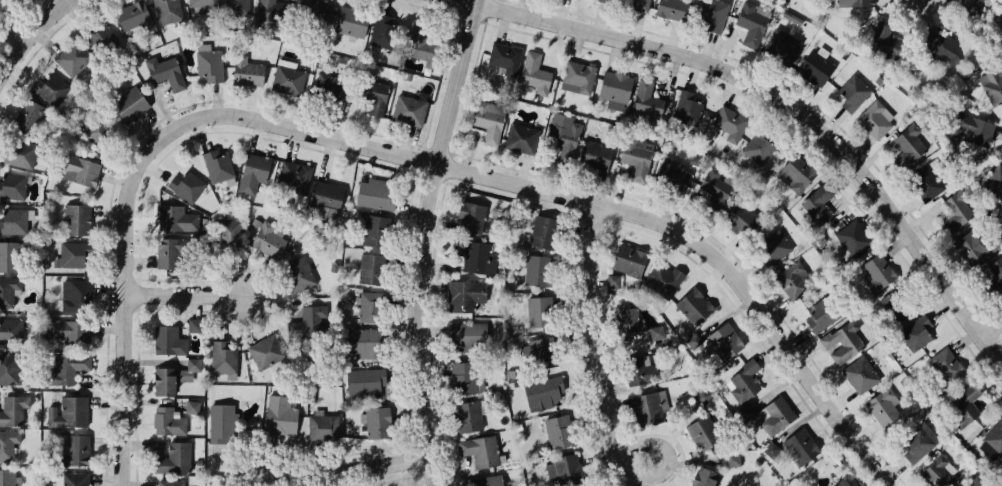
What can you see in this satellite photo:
building: (608, 0)
building: (636, 2)
building: (860, 2)
building: (201, 3)
building: (668, 4)
building: (233, 6)
building: (967, 7)
building: (167, 9)
building: (265, 11)
building: (312, 13)
building: (712, 14)
building: (752, 15)
building: (133, 16)
building: (351, 22)
road: (14, 23)
building: (99, 36)
road: (32, 37)
building: (384, 37)
building: (882, 37)
building: (783, 44)
building: (422, 45)
building: (938, 45)
building: (502, 56)
building: (72, 57)
building: (816, 64)
building: (209, 68)
building: (532, 69)
building: (244, 71)
building: (164, 72)
building: (575, 77)
building: (287, 80)
building: (992, 85)
building: (611, 86)
building: (49, 87)
building: (328, 89)
building: (370, 90)
building: (852, 92)
building: (645, 99)
road: (783, 100)
building: (130, 103)
building: (687, 108)
building: (407, 110)
building: (26, 116)
building: (486, 119)
building: (872, 121)
building: (730, 122)
building: (94, 127)
building: (972, 128)
building: (562, 135)
building: (518, 136)
building: (907, 143)
building: (757, 149)
building: (633, 152)
building: (20, 154)
building: (592, 155)
building: (77, 168)
building: (218, 168)
building: (795, 172)
building: (252, 173)
building: (671, 174)
building: (291, 175)
building: (923, 181)
building: (994, 182)
building: (184, 184)
building: (11, 186)
building: (711, 188)
building: (374, 196)
building: (324, 197)
road: (589, 199)
building: (814, 206)
building: (957, 210)
building: (471, 217)
building: (75, 218)
building: (175, 219)
building: (738, 219)
building: (11, 220)
building: (372, 231)
building: (542, 231)
building: (229, 232)
building: (819, 238)
building: (851, 238)
building: (266, 239)
road: (428, 240)
building: (772, 247)
building: (968, 249)
building: (165, 253)
building: (70, 254)
building: (5, 256)
building: (476, 259)
building: (626, 259)
building: (367, 269)
building: (876, 270)
building: (537, 271)
building: (296, 273)
building: (996, 273)
building: (792, 276)
building: (664, 279)
building: (613, 282)
building: (5, 292)
building: (69, 294)
road: (185, 294)
building: (464, 294)
road: (127, 302)
building: (898, 303)
building: (366, 305)
building: (693, 307)
building: (539, 312)
building: (823, 313)
building: (625, 318)
building: (307, 320)
building: (194, 325)
road: (993, 327)
building: (65, 331)
building: (8, 332)
building: (656, 333)
building: (915, 333)
building: (463, 336)
building: (168, 340)
building: (694, 341)
building: (842, 341)
building: (359, 342)
building: (724, 342)
road: (593, 345)
building: (265, 351)
building: (537, 352)
building: (220, 357)
building: (944, 365)
building: (7, 368)
building: (69, 369)
building: (637, 369)
building: (861, 374)
building: (463, 376)
building: (174, 377)
building: (743, 379)
building: (360, 383)
building: (542, 394)
building: (962, 404)
building: (884, 405)
building: (192, 406)
building: (645, 408)
building: (10, 411)
building: (67, 411)
building: (468, 415)
building: (774, 415)
building: (277, 416)
building: (167, 420)
building: (374, 422)
building: (219, 423)
building: (321, 424)
building: (555, 430)
building: (701, 432)
building: (994, 435)
building: (918, 442)
building: (8, 445)
building: (799, 447)
building: (71, 449)
building: (481, 452)
building: (772, 453)
building: (172, 458)
road: (635, 463)
road: (341, 465)
building: (560, 468)
building: (937, 472)
building: (703, 477)
building: (7, 478)
building: (73, 478)
building: (489, 481)
building: (169, 482)
building: (845, 483)
building: (974, 483)

